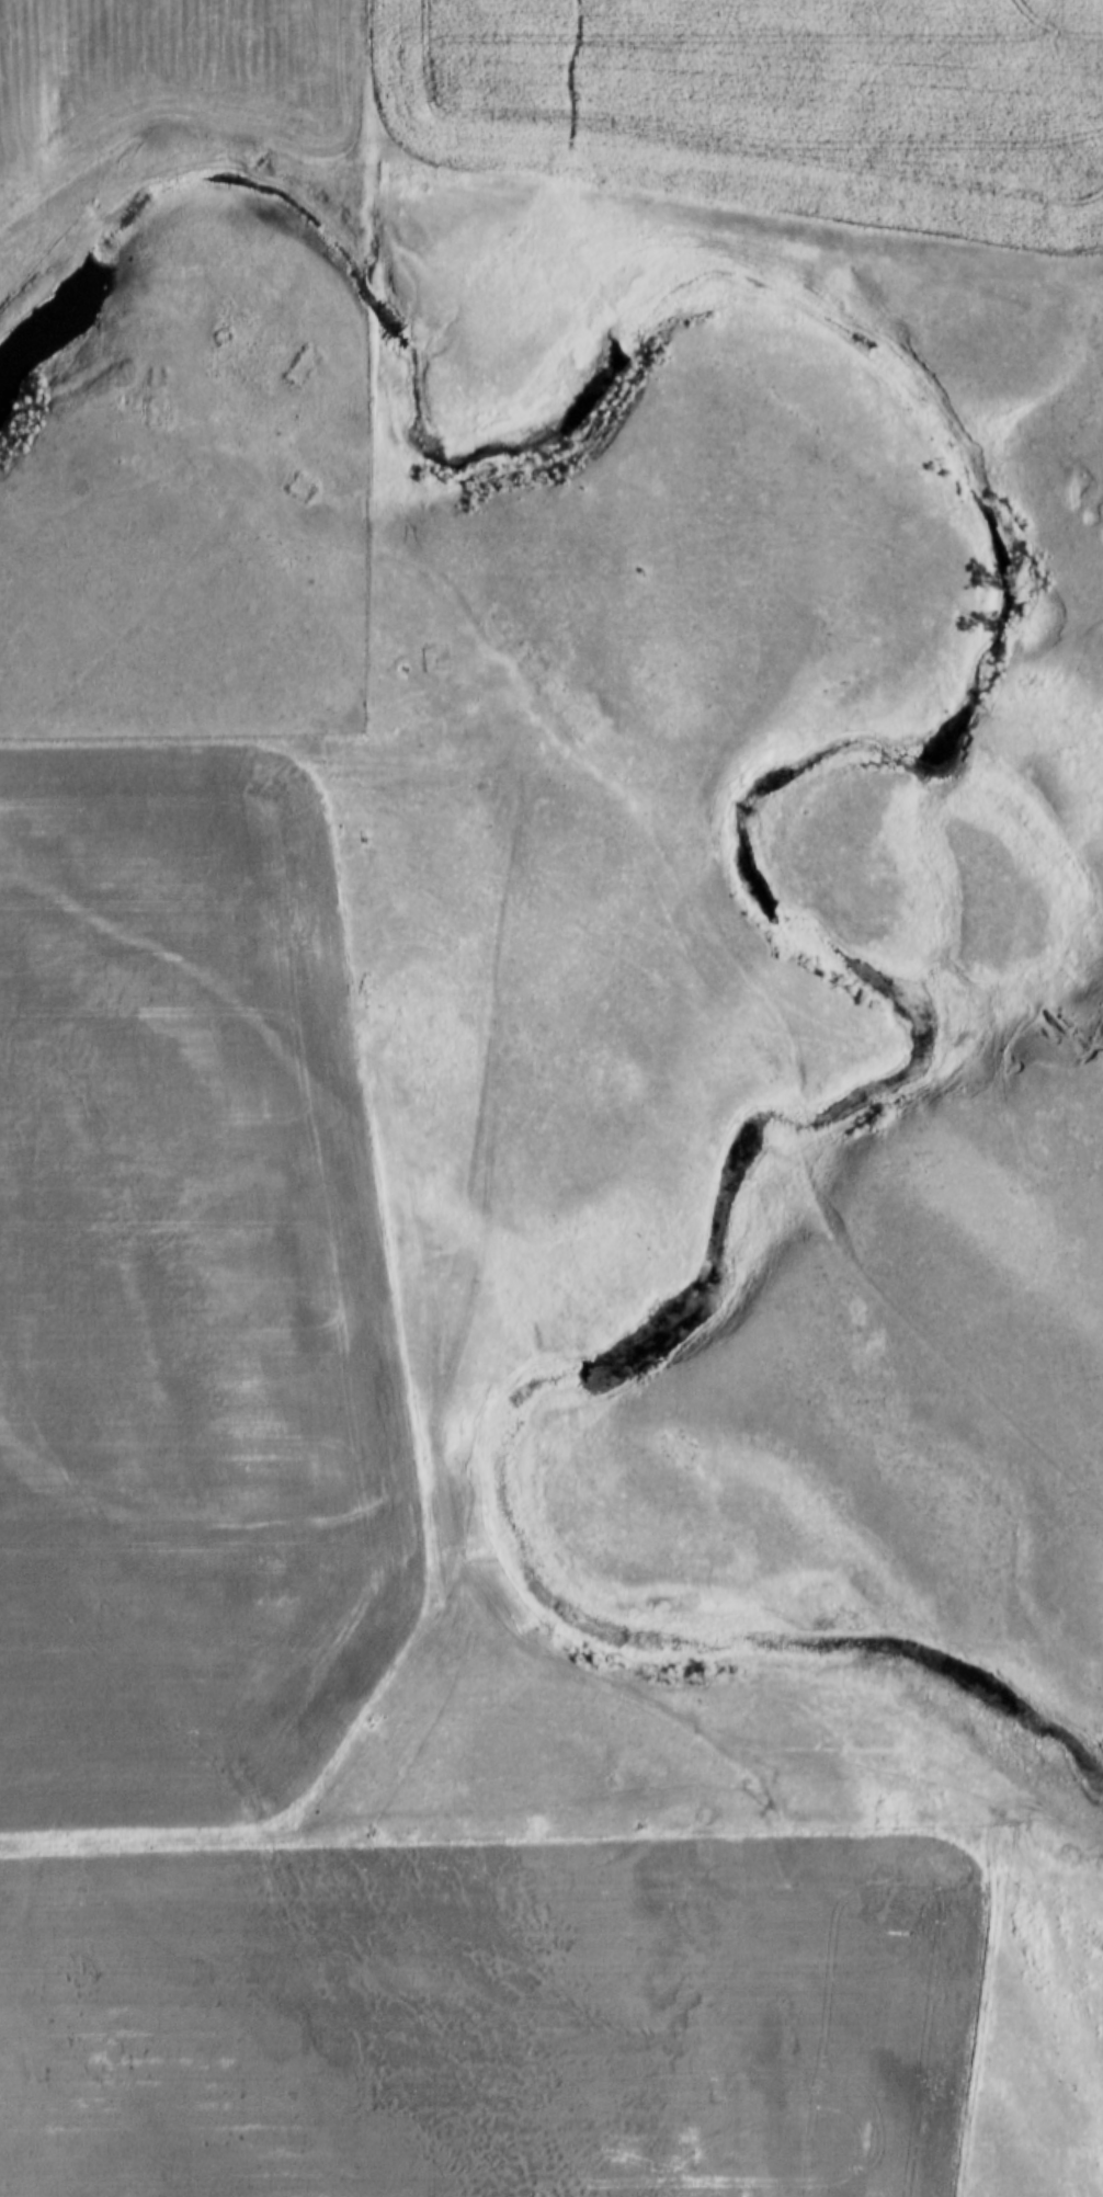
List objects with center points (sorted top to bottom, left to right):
road: (214, 135)

